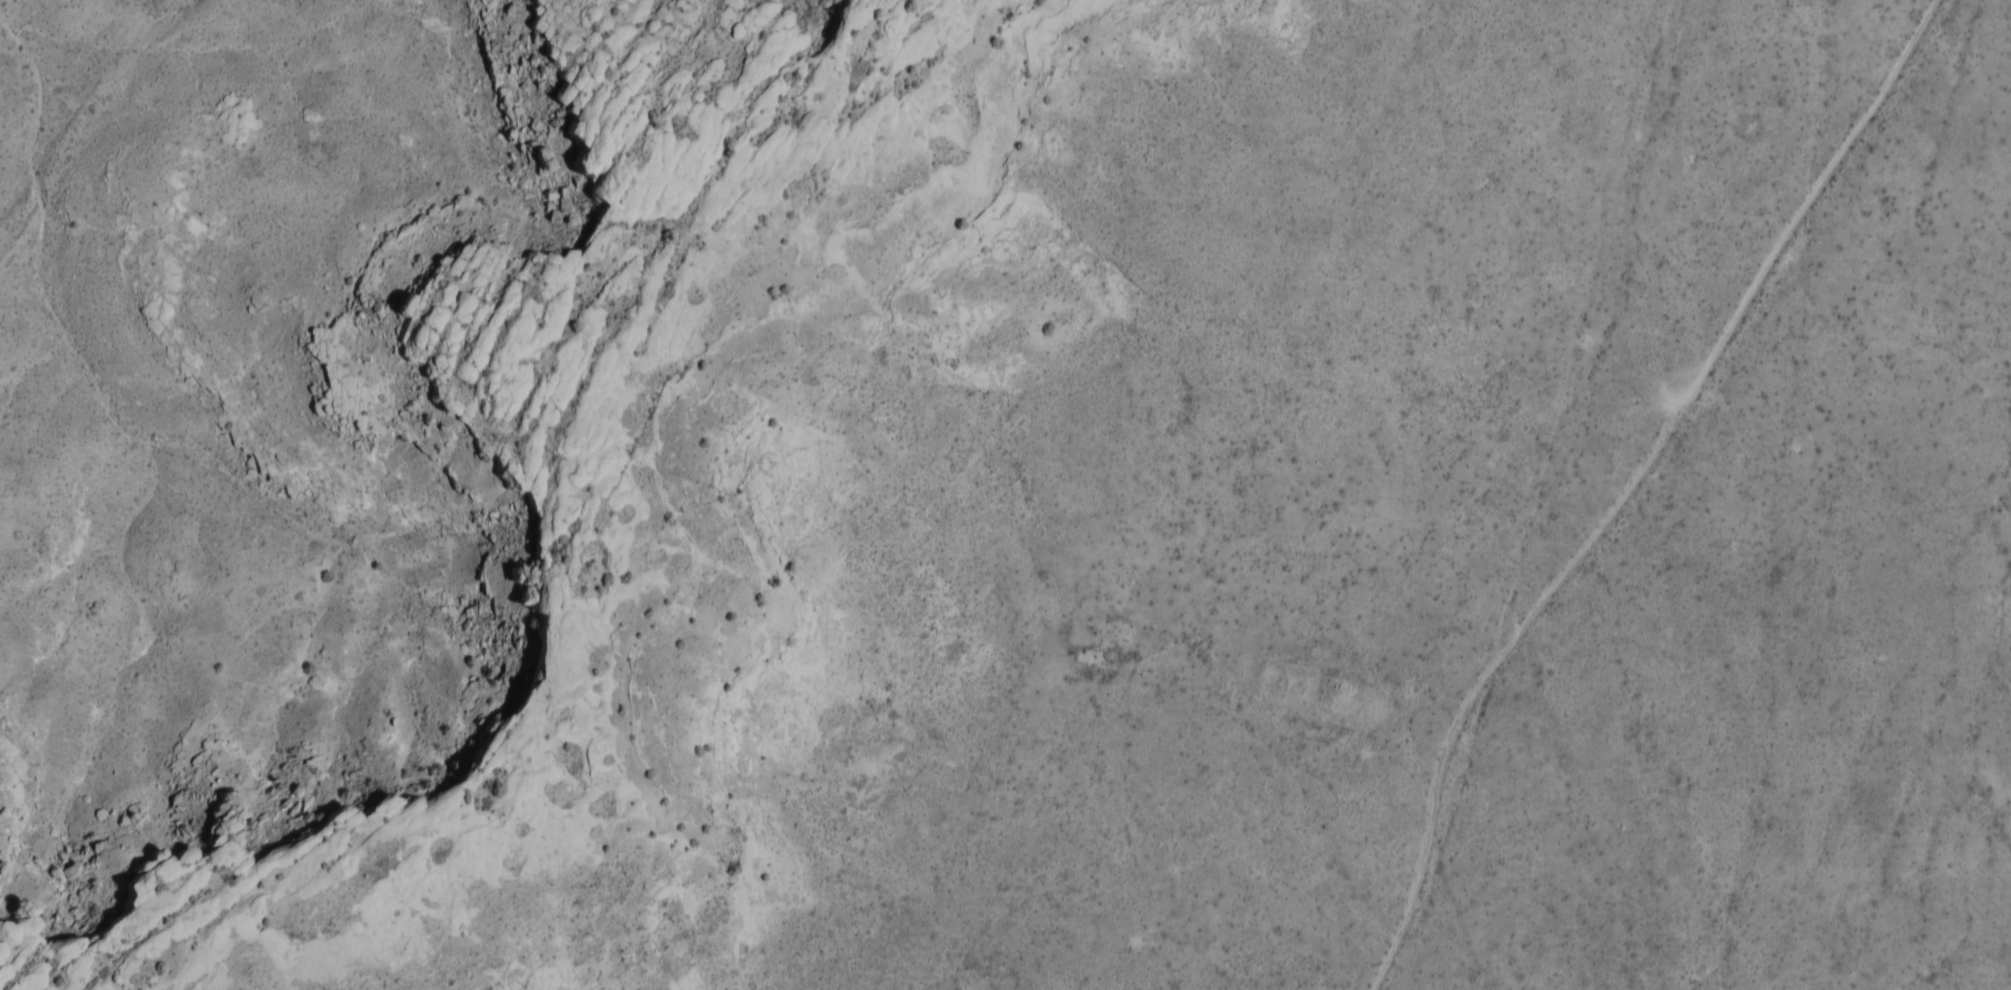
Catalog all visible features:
road: (1630, 485)

